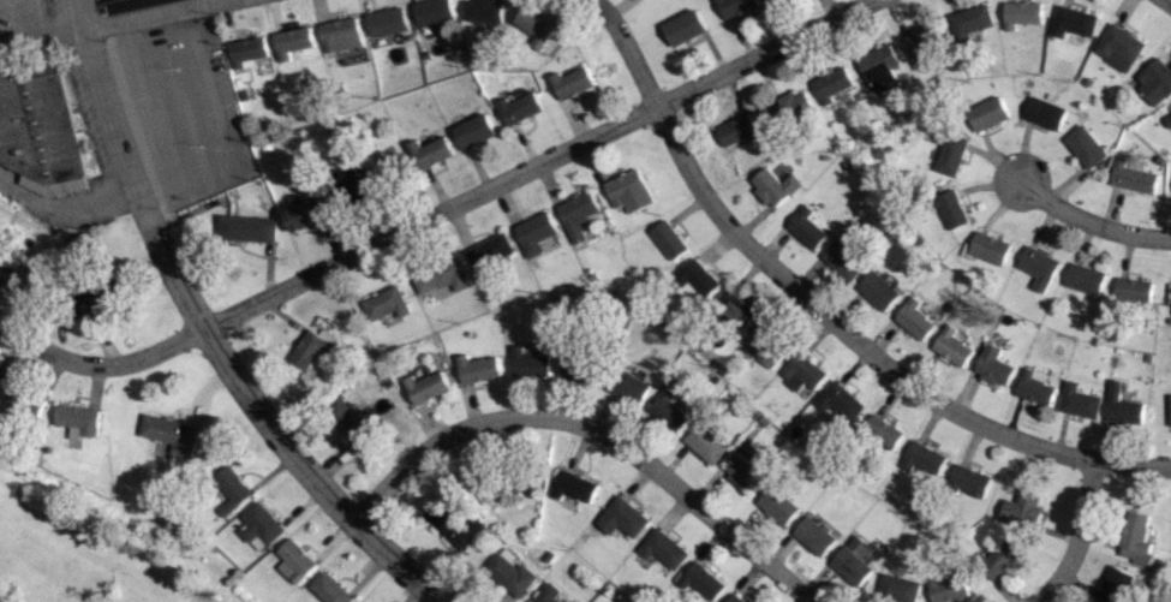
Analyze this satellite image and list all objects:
road: (1164, 4)
building: (736, 6)
building: (483, 11)
building: (434, 12)
building: (1020, 13)
road: (153, 14)
building: (388, 22)
building: (969, 22)
building: (1071, 22)
building: (534, 26)
building: (685, 28)
building: (342, 35)
road: (43, 36)
building: (294, 42)
building: (919, 46)
building: (1117, 48)
building: (249, 52)
building: (878, 67)
building: (1154, 81)
building: (573, 83)
building: (830, 84)
building: (789, 106)
building: (1170, 107)
building: (520, 108)
building: (1042, 113)
building: (985, 114)
building: (1167, 120)
building: (38, 127)
building: (736, 130)
building: (473, 131)
building: (1082, 147)
building: (946, 151)
building: (430, 153)
building: (384, 166)
building: (1130, 177)
building: (772, 186)
building: (346, 187)
building: (627, 191)
building: (949, 209)
road: (65, 210)
road: (440, 210)
building: (305, 214)
building: (576, 215)
road: (1086, 222)
building: (249, 228)
building: (805, 228)
building: (533, 233)
building: (667, 239)
building: (985, 249)
building: (490, 252)
building: (841, 258)
building: (1036, 267)
building: (10, 275)
building: (441, 276)
building: (1083, 279)
building: (693, 280)
building: (877, 291)
building: (1133, 291)
building: (1169, 292)
building: (90, 294)
building: (384, 304)
building: (733, 309)
road: (822, 311)
building: (913, 320)
road: (203, 335)
building: (764, 345)
building: (951, 346)
building: (311, 347)
building: (528, 362)
building: (992, 365)
building: (477, 369)
building: (579, 369)
building: (801, 374)
building: (0, 377)
building: (628, 386)
building: (425, 387)
building: (1035, 387)
building: (22, 401)
building: (840, 401)
building: (1080, 401)
building: (1124, 406)
building: (668, 410)
building: (77, 419)
building: (349, 422)
road: (592, 427)
building: (169, 433)
building: (882, 433)
building: (705, 443)
building: (924, 458)
building: (742, 471)
building: (969, 481)
building: (574, 487)
building: (231, 489)
building: (777, 506)
building: (1023, 509)
building: (621, 518)
building: (450, 523)
building: (258, 526)
building: (812, 535)
road: (1076, 535)
building: (1136, 537)
building: (662, 549)
park: (80, 553)
building: (1000, 558)
building: (853, 560)
building: (294, 561)
building: (509, 572)
building: (700, 582)
building: (1117, 585)
building: (896, 588)
building: (328, 589)
building: (946, 589)
building: (548, 594)
building: (731, 598)

